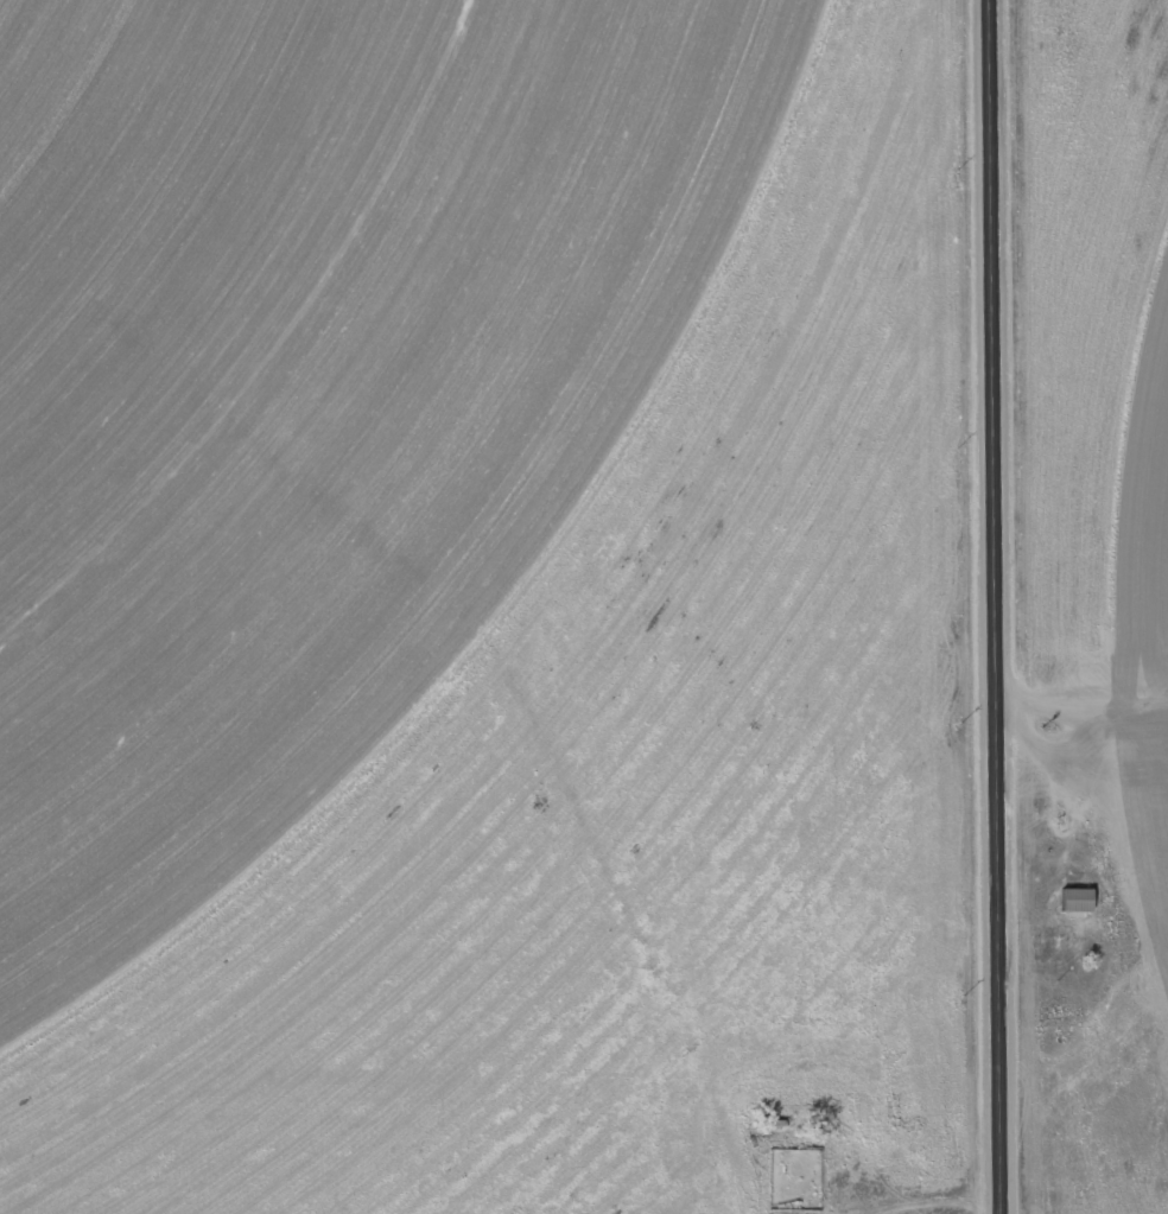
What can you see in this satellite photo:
road: (992, 606)

